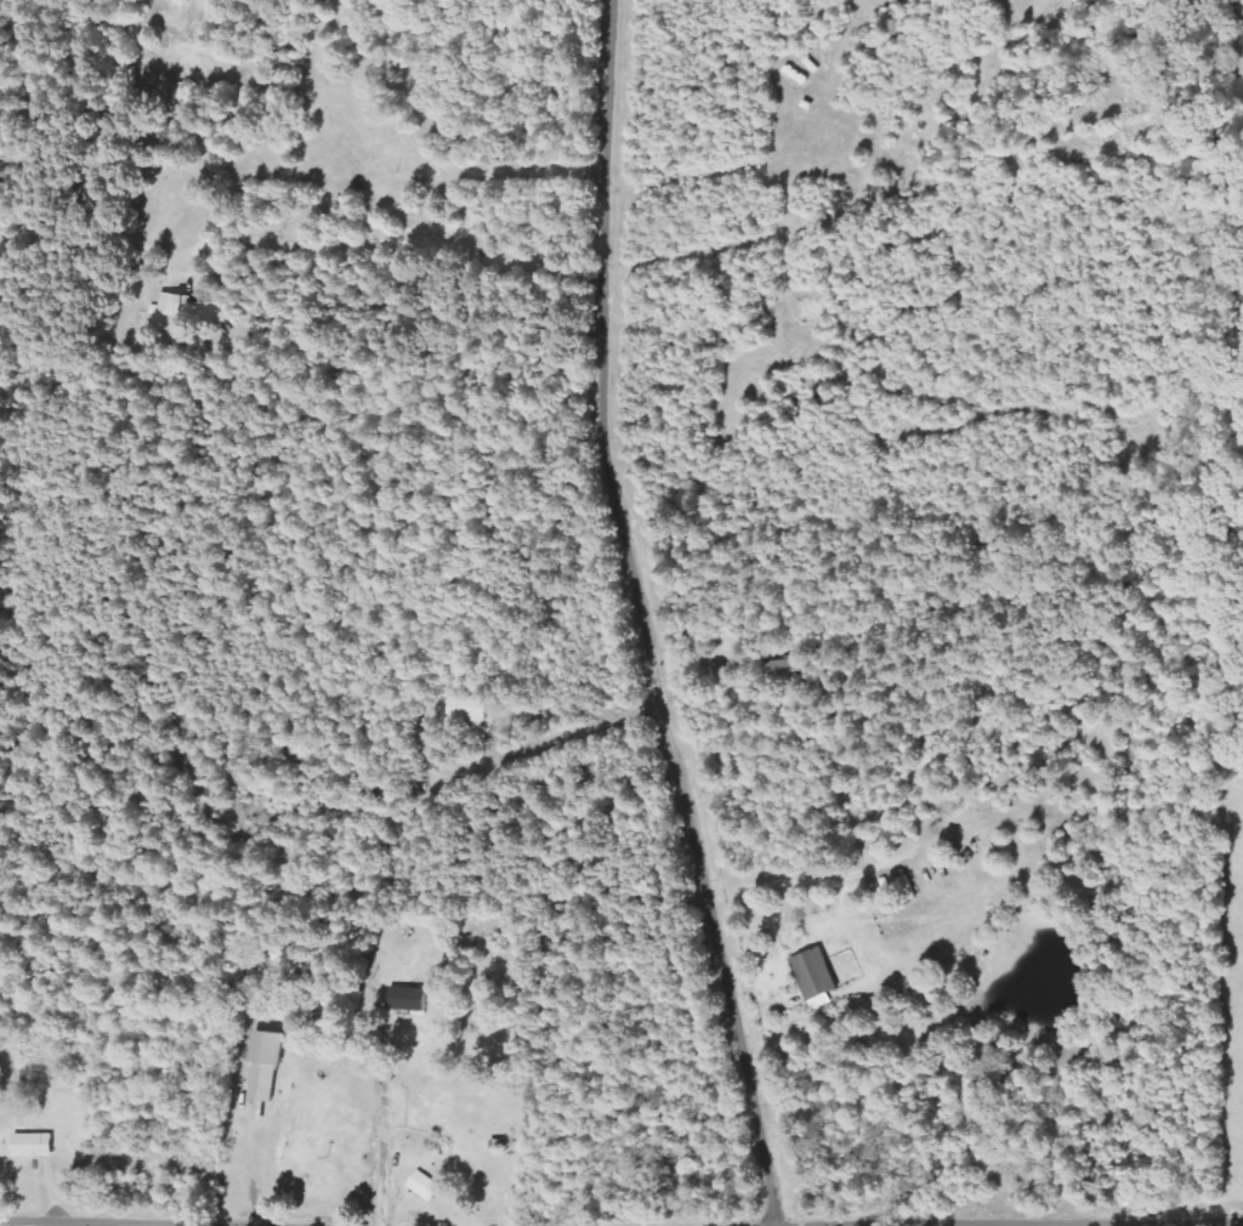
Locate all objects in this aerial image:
road: (402, 237)
building: (172, 306)
road: (641, 618)
building: (466, 710)
building: (815, 975)
building: (408, 999)
building: (265, 1068)
building: (387, 1073)
road: (390, 1133)
building: (34, 1146)
building: (425, 1186)
road: (1012, 1222)

